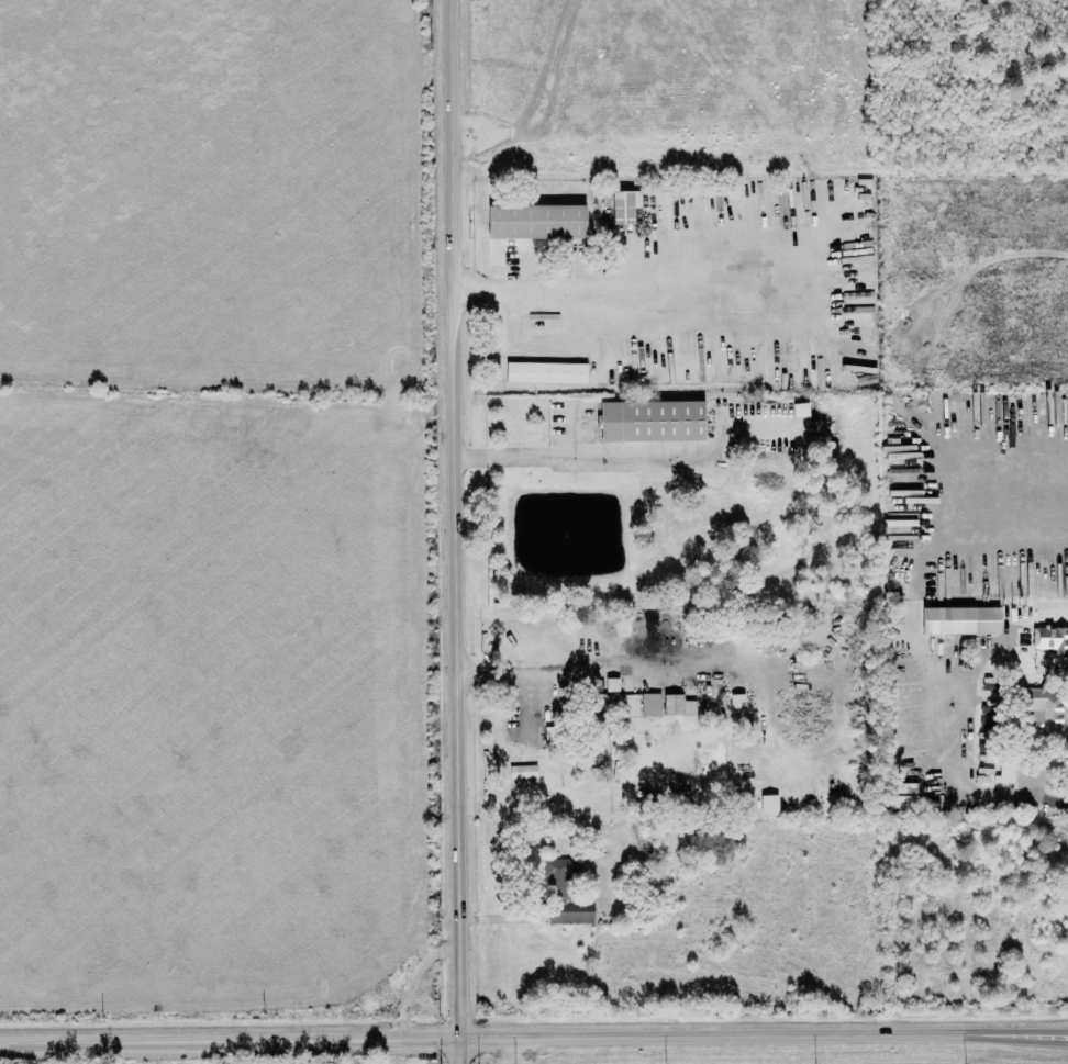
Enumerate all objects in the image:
building: (624, 206)
building: (536, 222)
road: (608, 291)
building: (546, 373)
building: (800, 411)
building: (652, 422)
road: (585, 456)
road: (1016, 485)
road: (461, 531)
building: (960, 620)
building: (1052, 643)
road: (545, 672)
building: (612, 685)
building: (670, 703)
building: (647, 704)
building: (1043, 708)
building: (602, 712)
building: (522, 772)
building: (1005, 772)
building: (902, 796)
road: (1052, 802)
building: (769, 805)
building: (565, 895)
road: (533, 1037)

